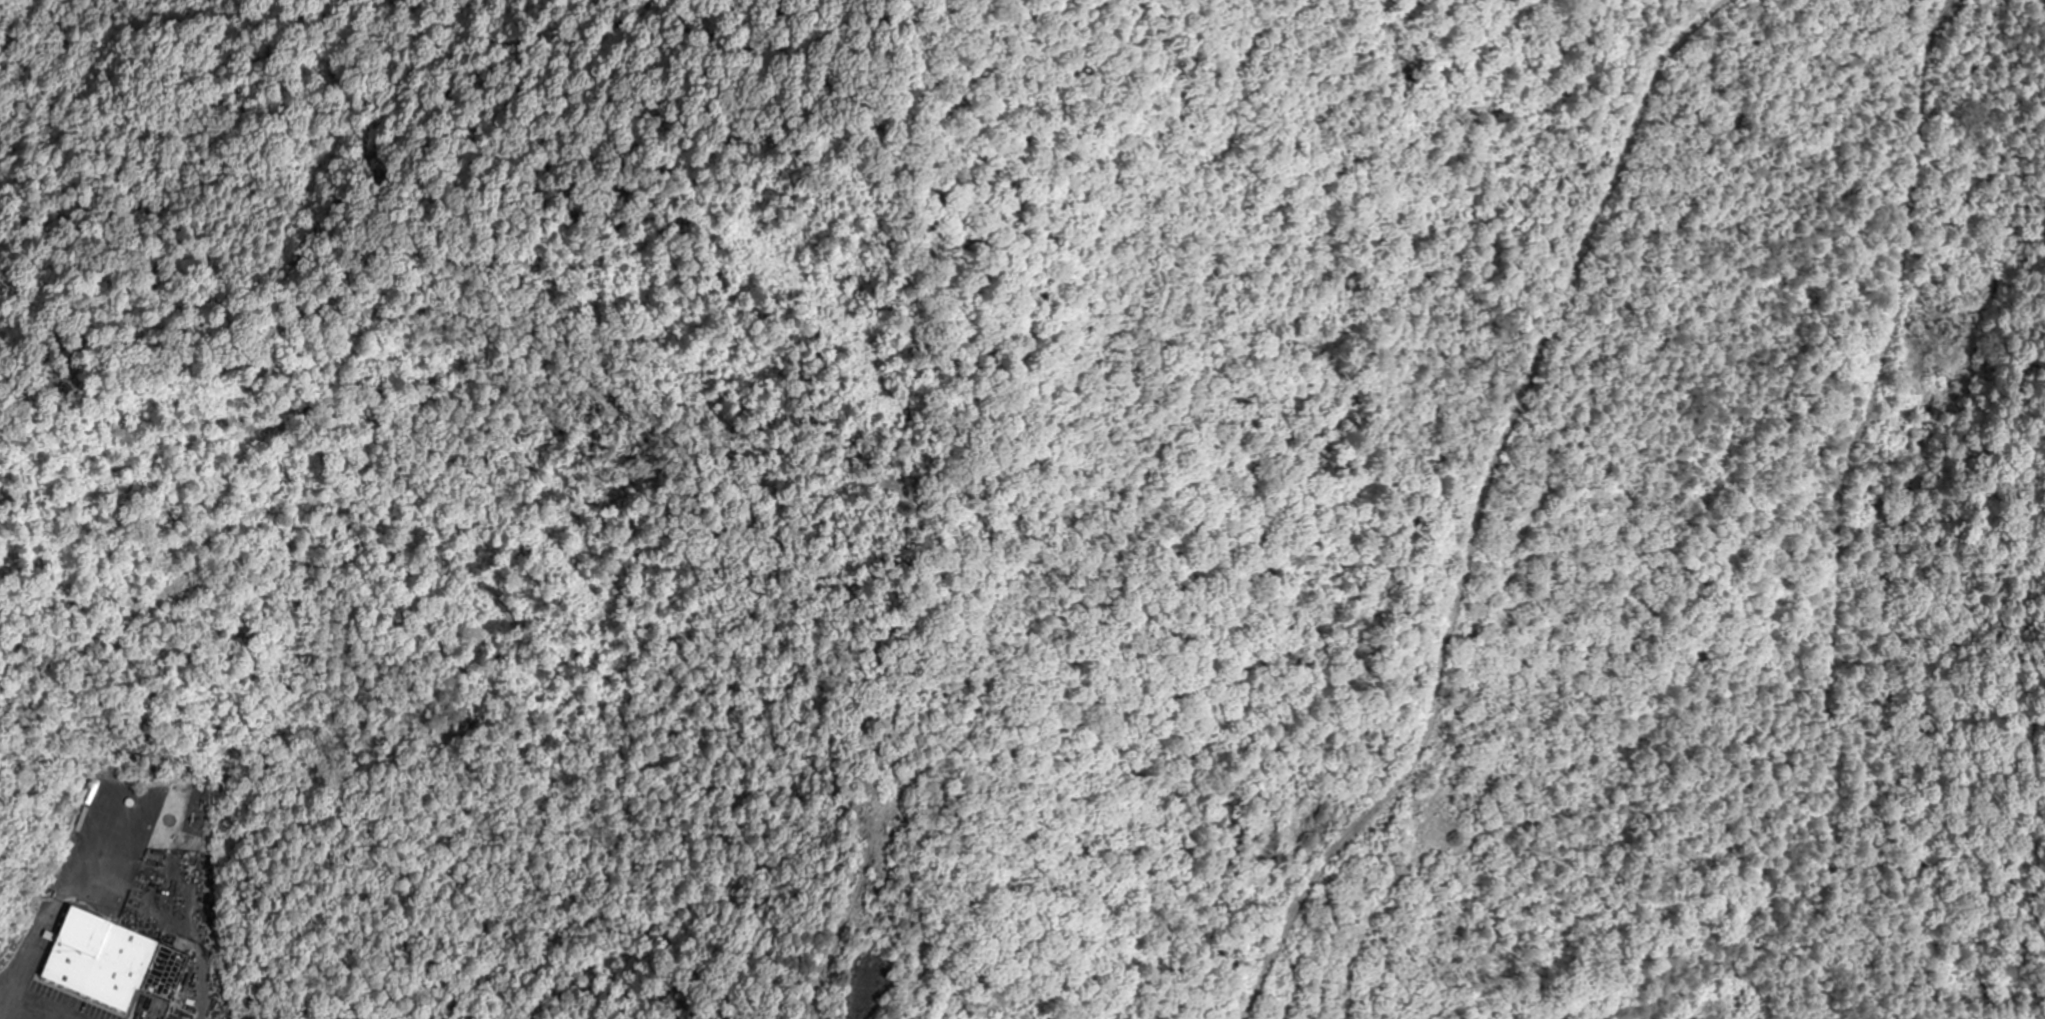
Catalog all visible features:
building: (148, 863)
building: (105, 962)

